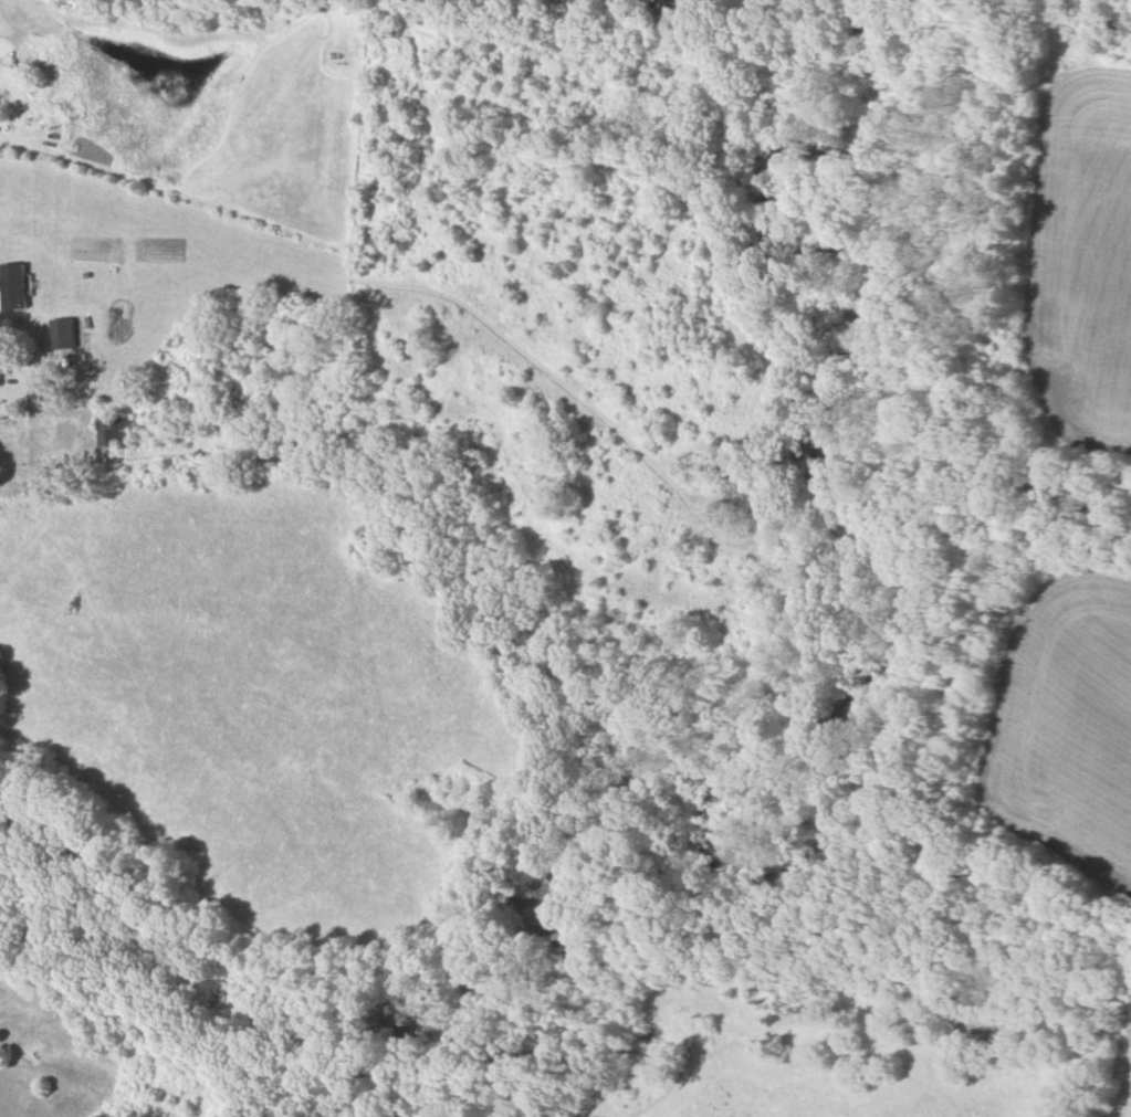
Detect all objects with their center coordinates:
crop: (201, 108)
crop: (159, 239)
crop: (1081, 255)
building: (14, 285)
road: (4, 322)
building: (62, 333)
building: (115, 430)
crop: (258, 692)
crop: (1064, 720)
crop: (1120, 1086)

